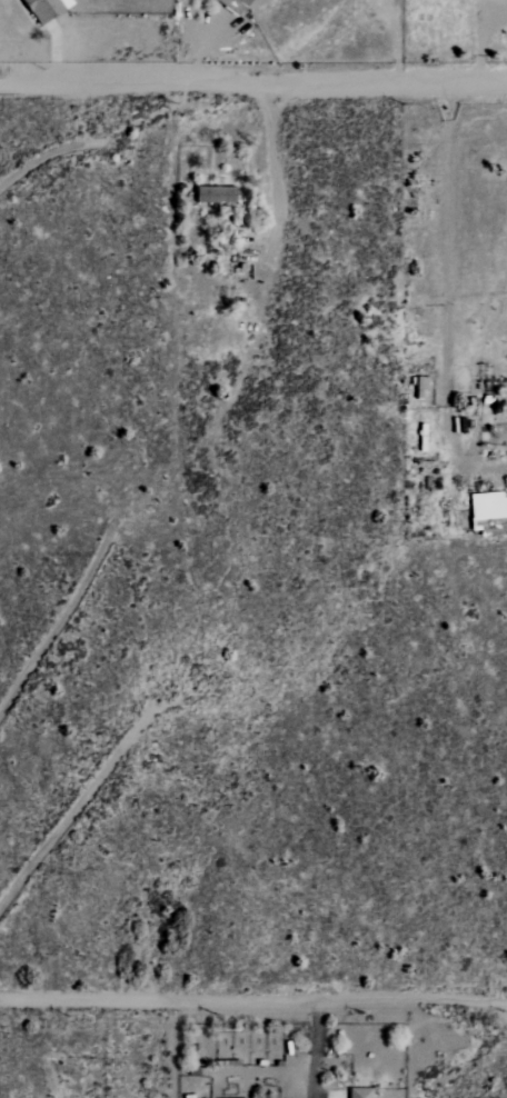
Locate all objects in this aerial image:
building: (48, 9)
road: (479, 41)
road: (202, 49)
road: (56, 51)
road: (252, 86)
road: (269, 176)
building: (218, 194)
road: (445, 298)
road: (252, 997)
road: (312, 1047)
building: (361, 1092)

